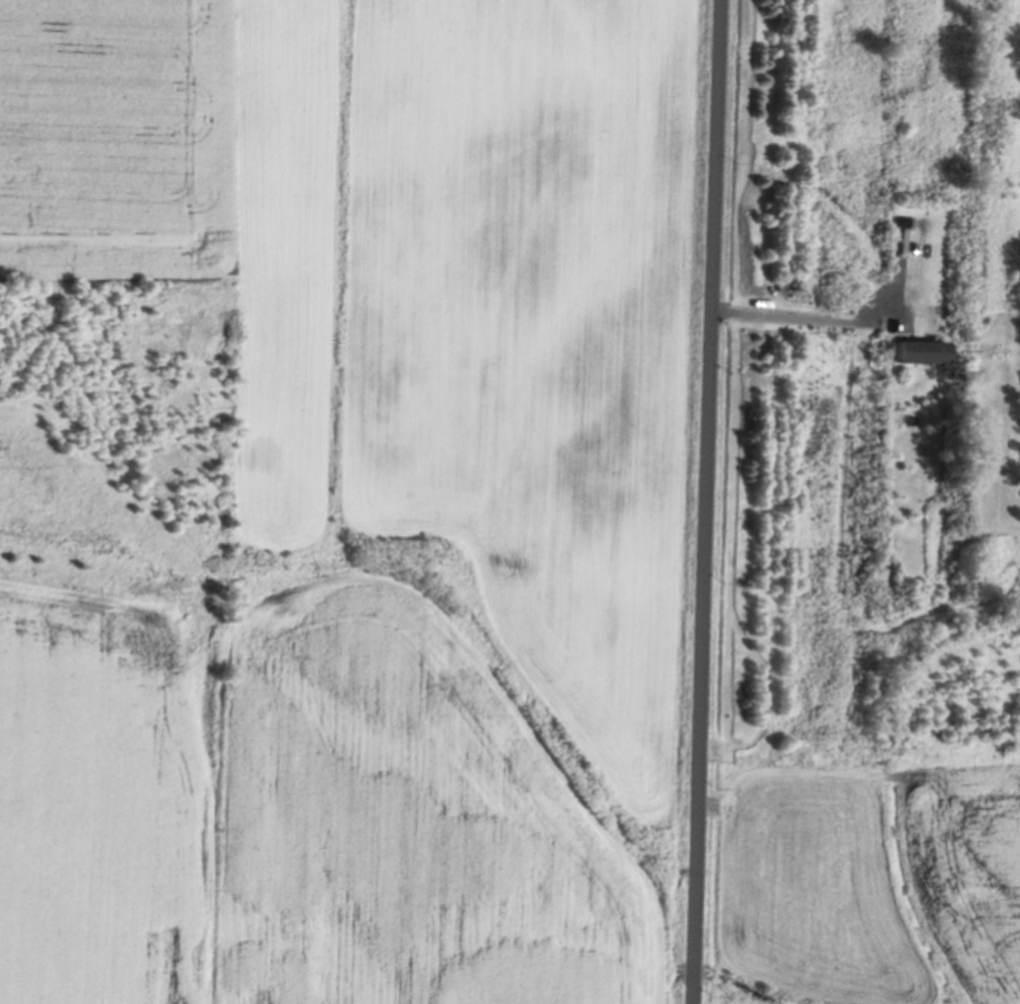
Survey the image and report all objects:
road: (806, 314)
building: (917, 348)
road: (704, 501)

